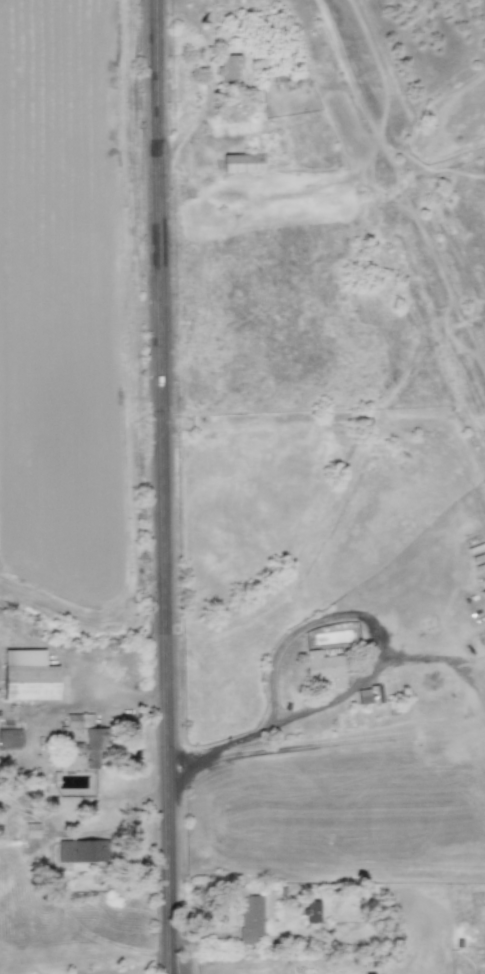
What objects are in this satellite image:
building: (228, 68)
building: (242, 163)
road: (158, 296)
road: (376, 661)
road: (435, 661)
building: (324, 667)
building: (28, 676)
building: (369, 695)
road: (84, 704)
building: (10, 738)
road: (350, 742)
road: (180, 773)
road: (169, 783)
building: (31, 830)
building: (81, 850)
building: (311, 912)
building: (250, 918)

